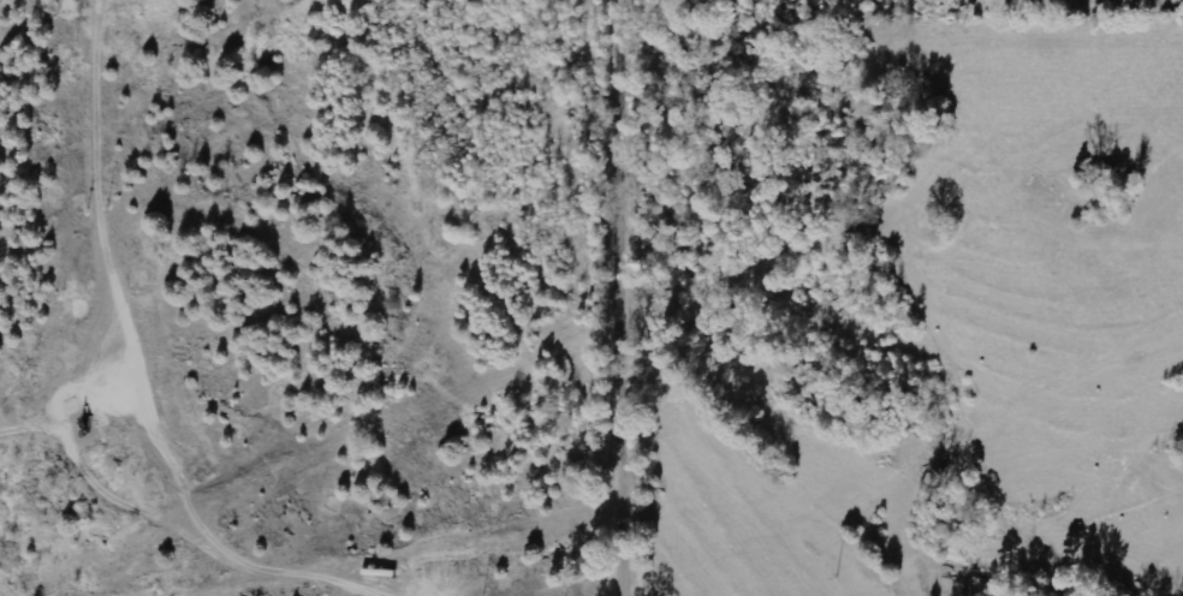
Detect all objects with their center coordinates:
road: (635, 297)
road: (531, 424)

